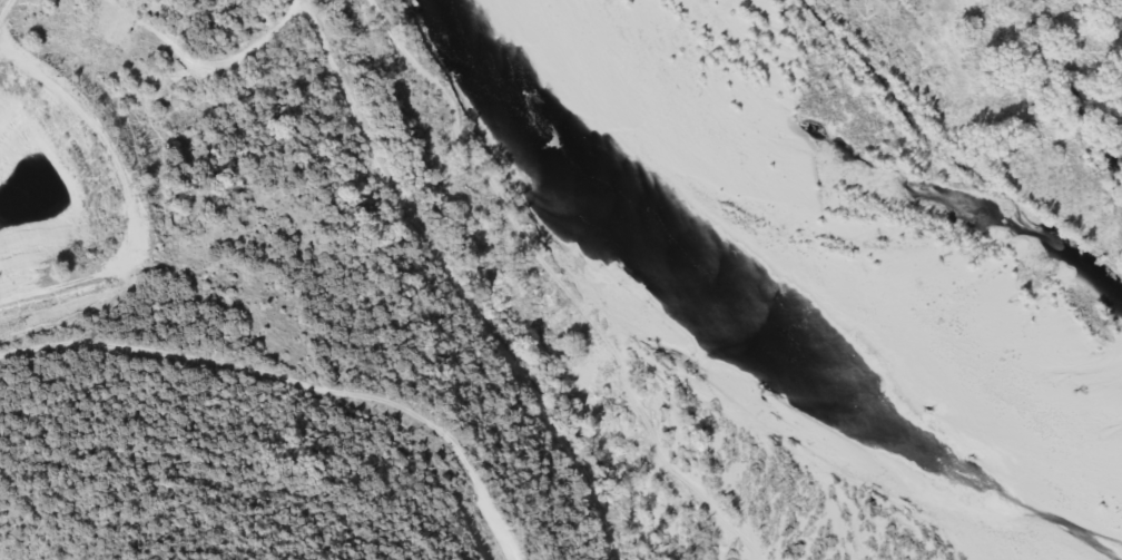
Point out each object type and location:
river: (859, 274)

